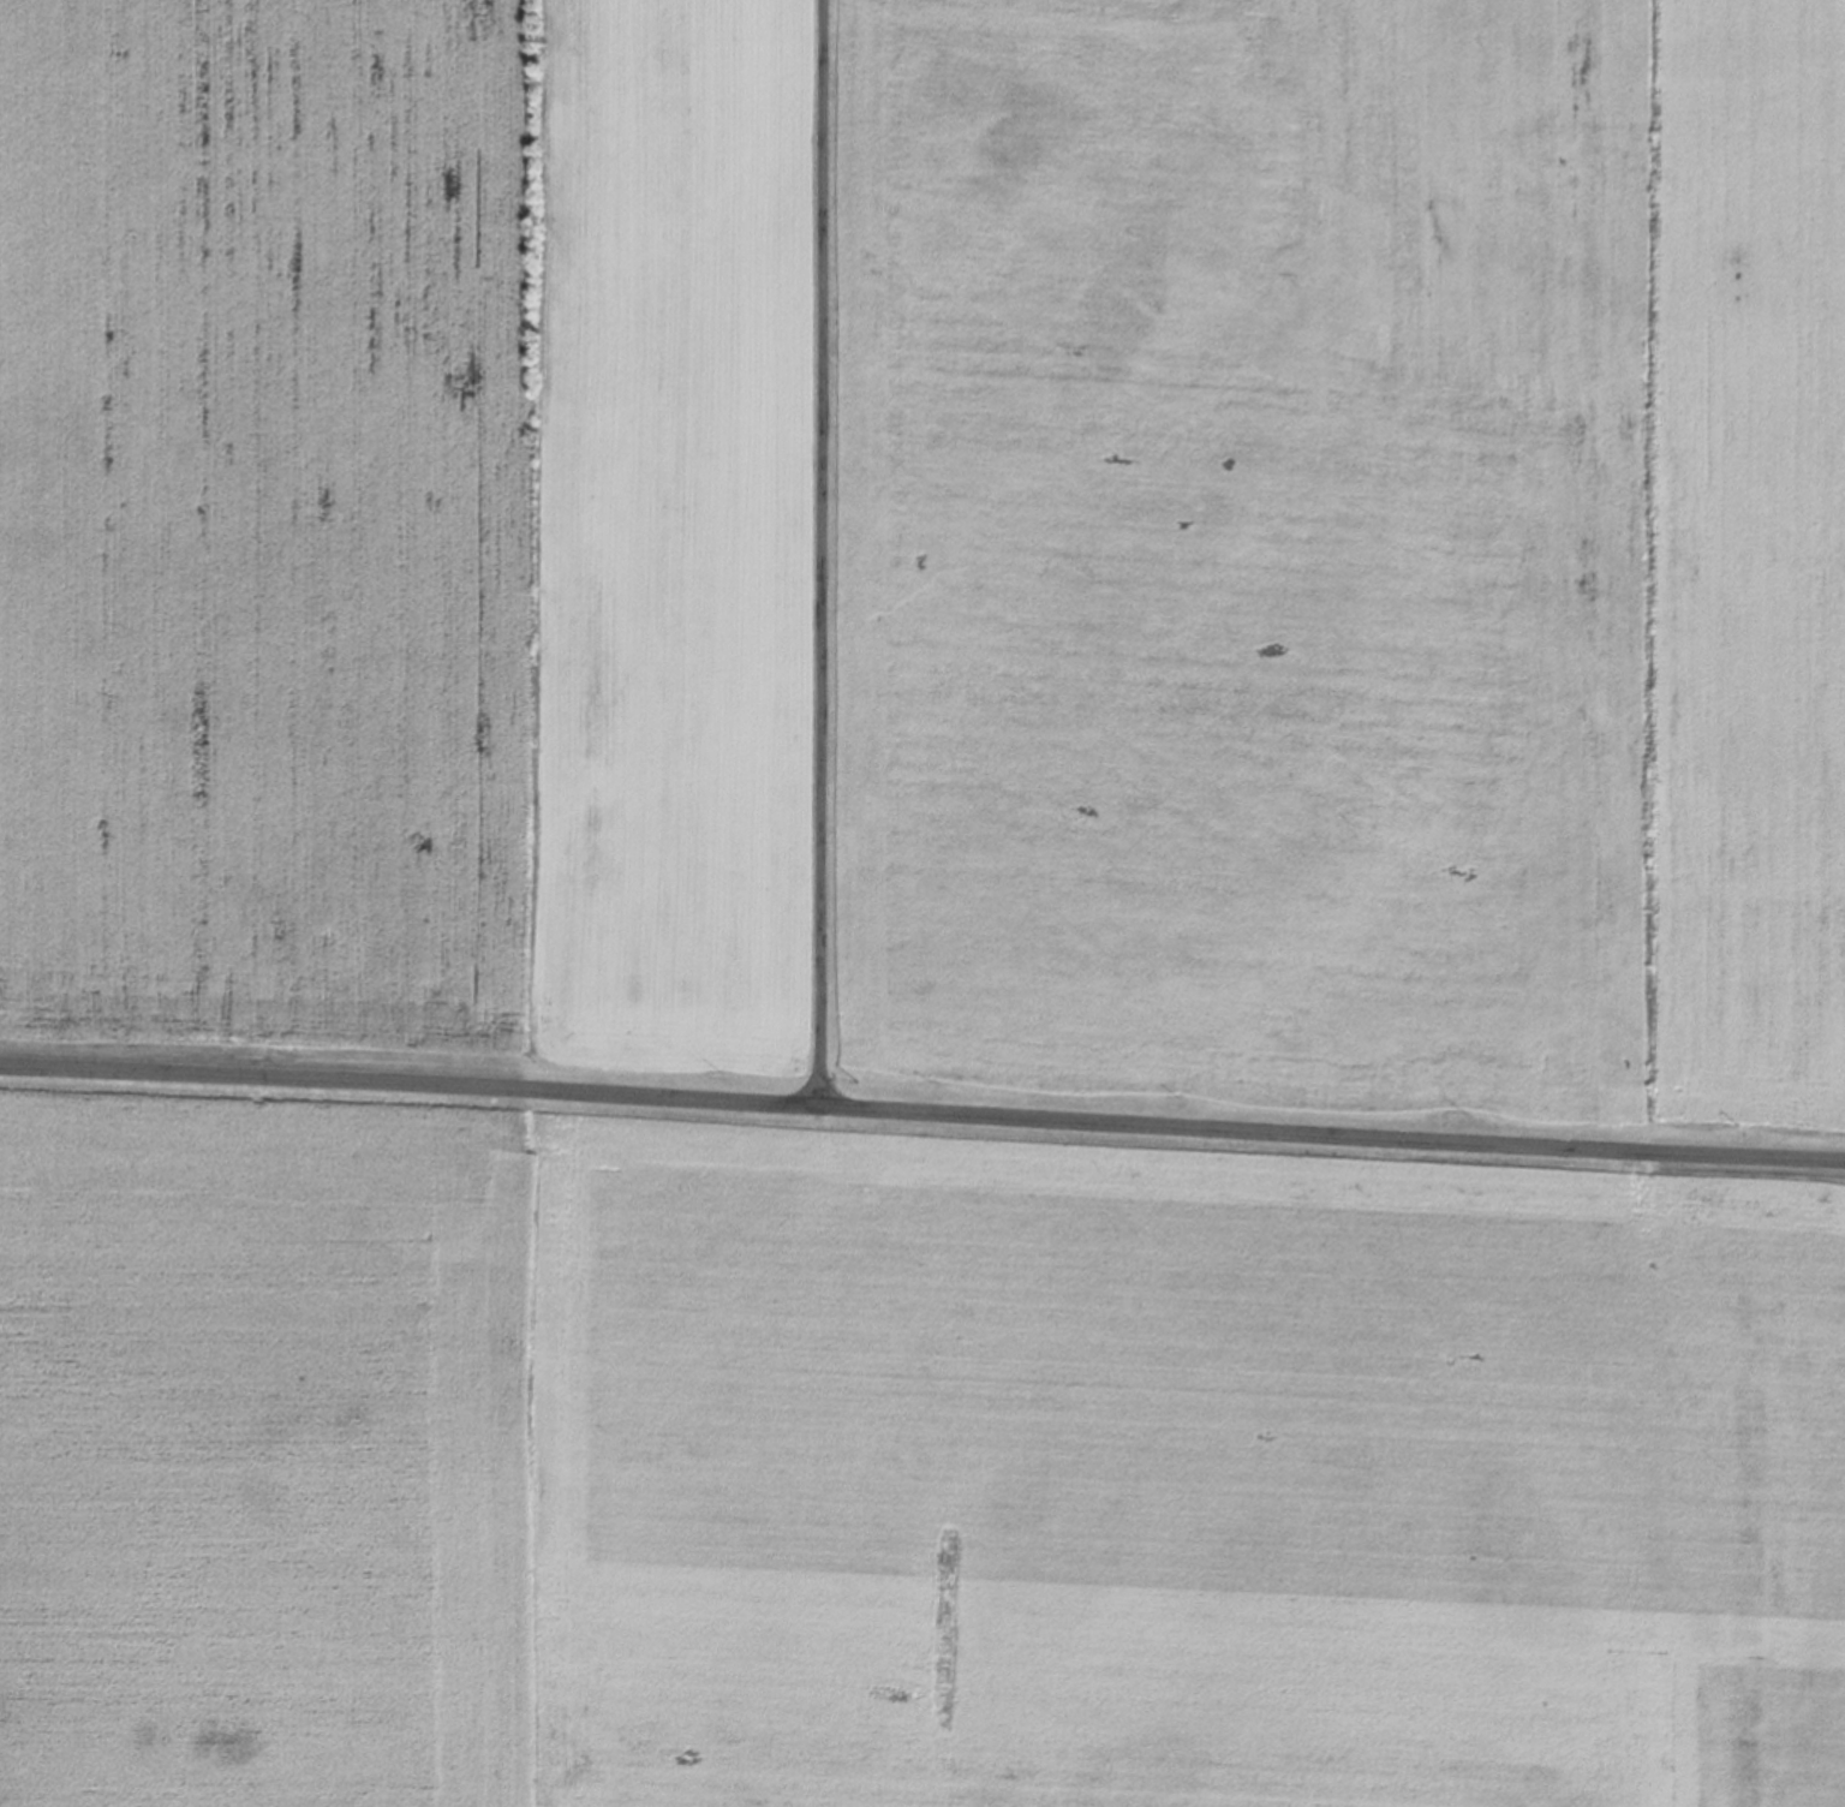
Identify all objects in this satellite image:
road: (823, 553)
road: (921, 1110)

